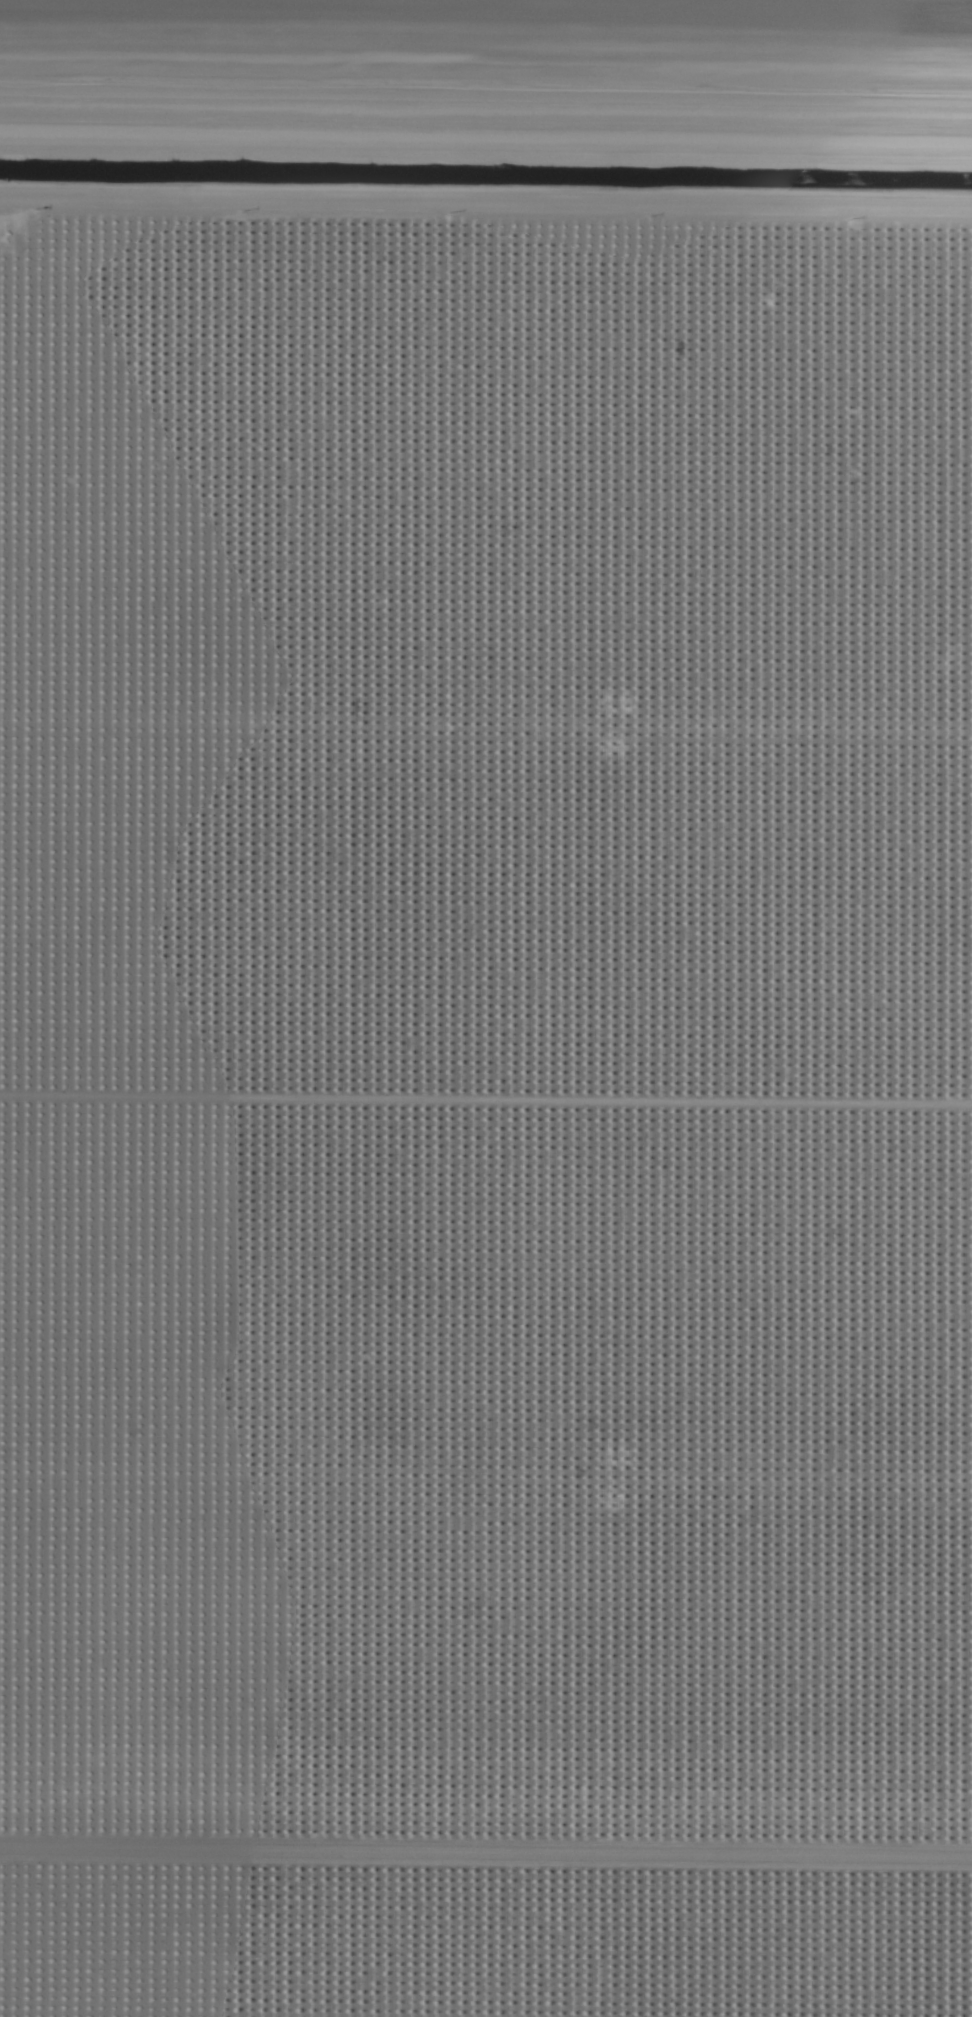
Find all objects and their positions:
road: (486, 88)
road: (486, 214)
crop: (486, 1008)

